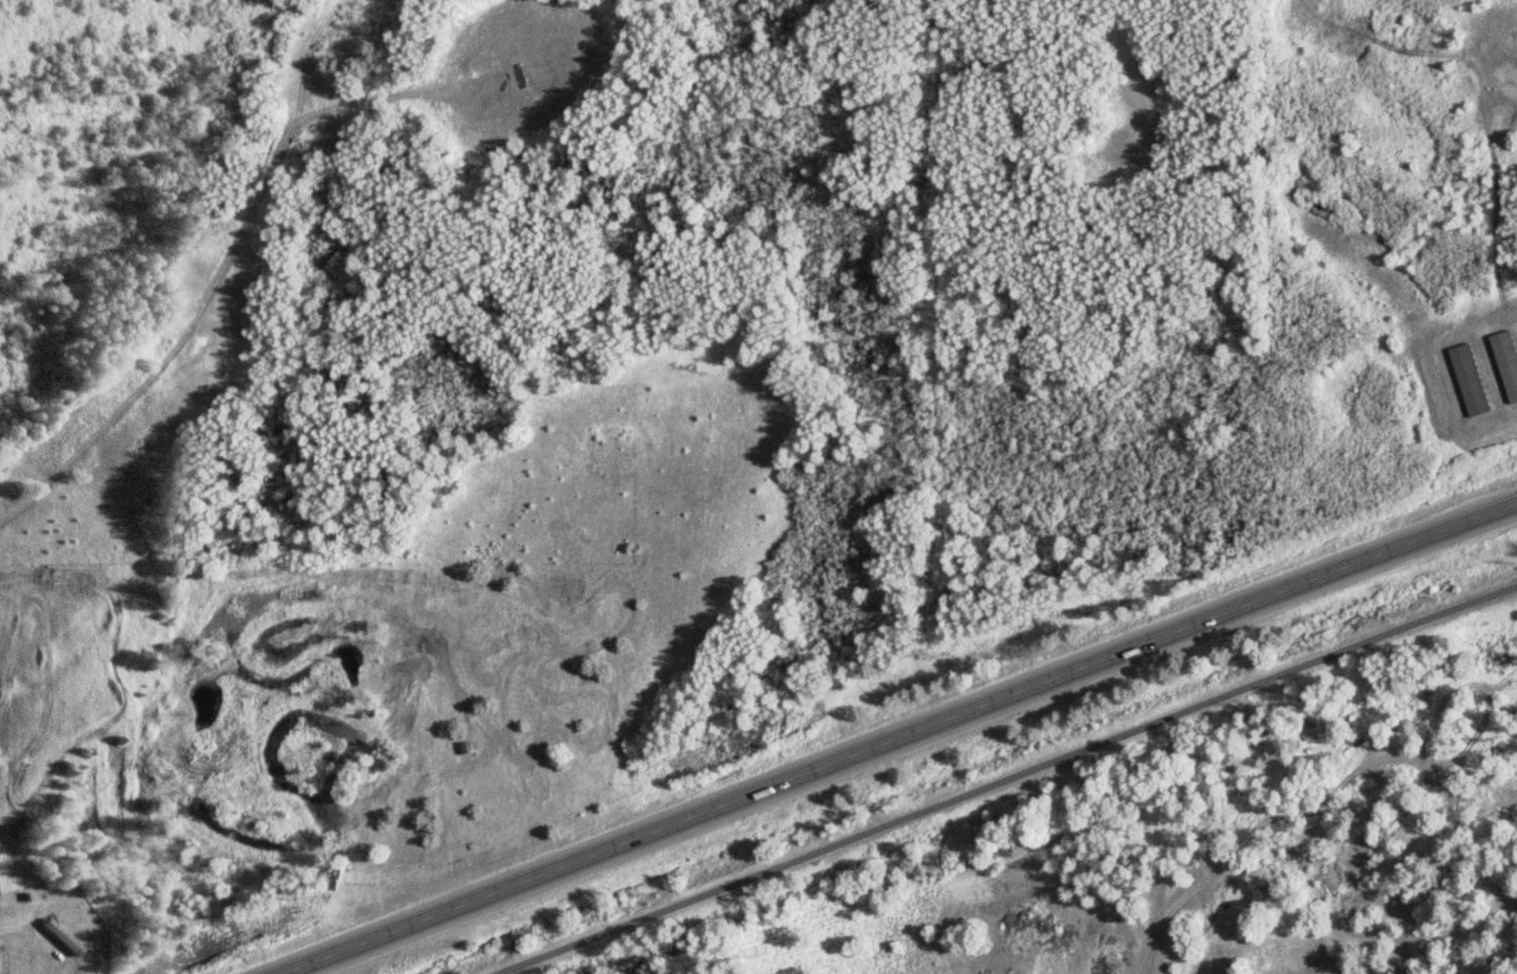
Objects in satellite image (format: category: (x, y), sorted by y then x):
building: (1508, 360)
building: (1471, 379)
road: (898, 737)
road: (1010, 779)
road: (1245, 836)
building: (26, 893)
road: (34, 934)
building: (64, 935)

